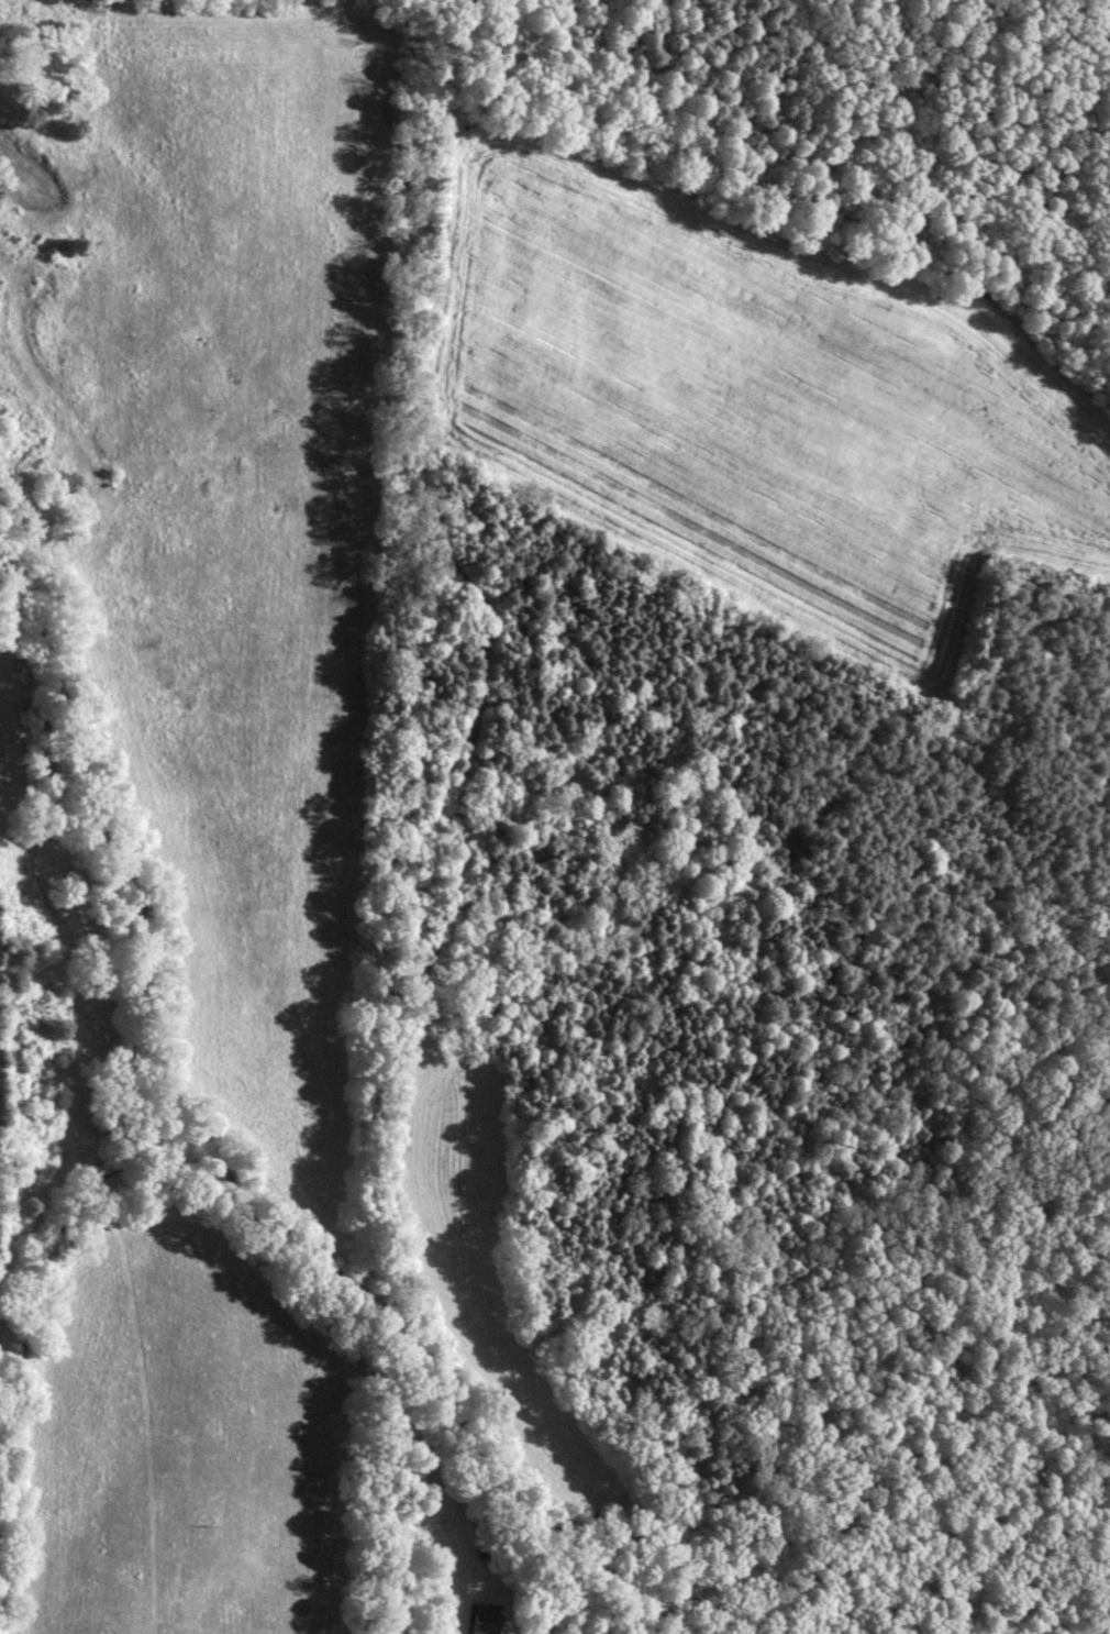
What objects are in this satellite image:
building: (476, 1618)

